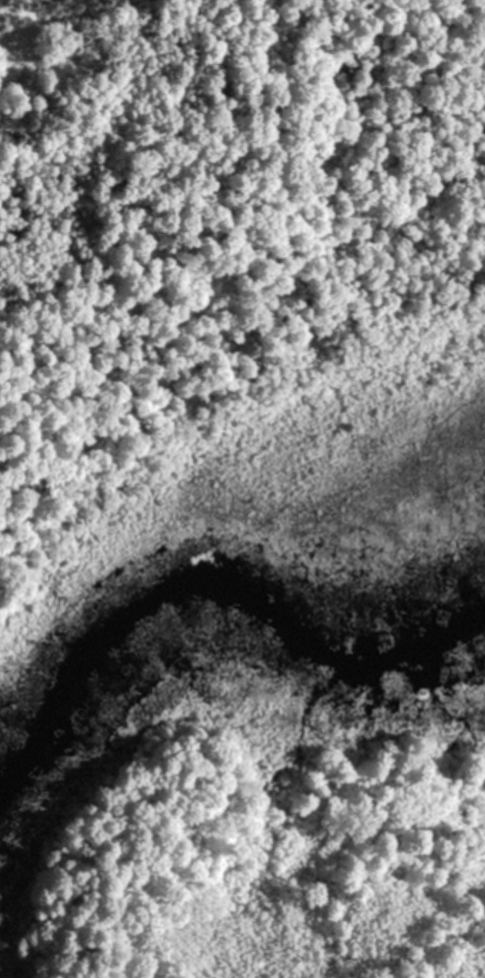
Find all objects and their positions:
river: (256, 604)
river: (30, 752)

